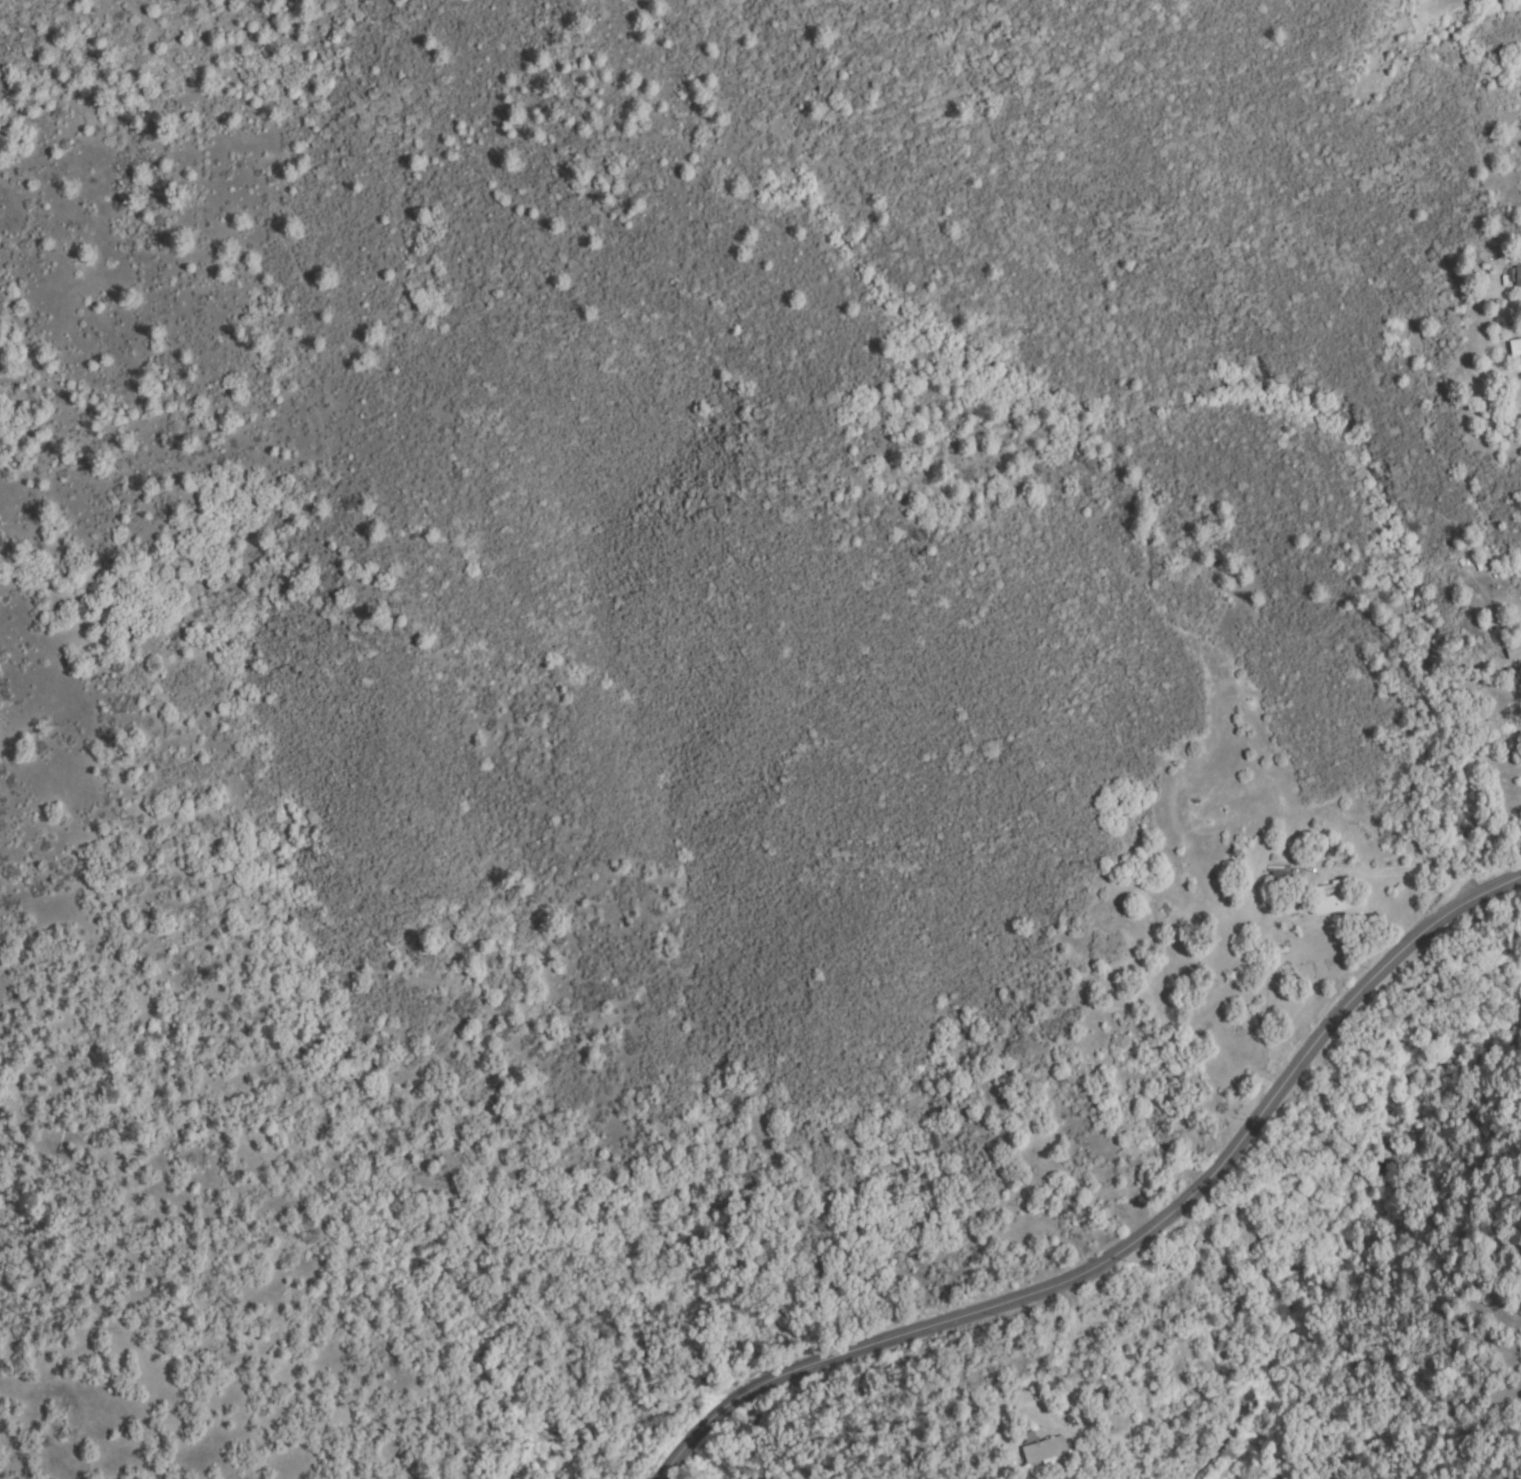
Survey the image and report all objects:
building: (1517, 278)
building: (1517, 347)
building: (1514, 651)
building: (1281, 879)
building: (1333, 898)
road: (1142, 1232)
building: (1046, 1451)

